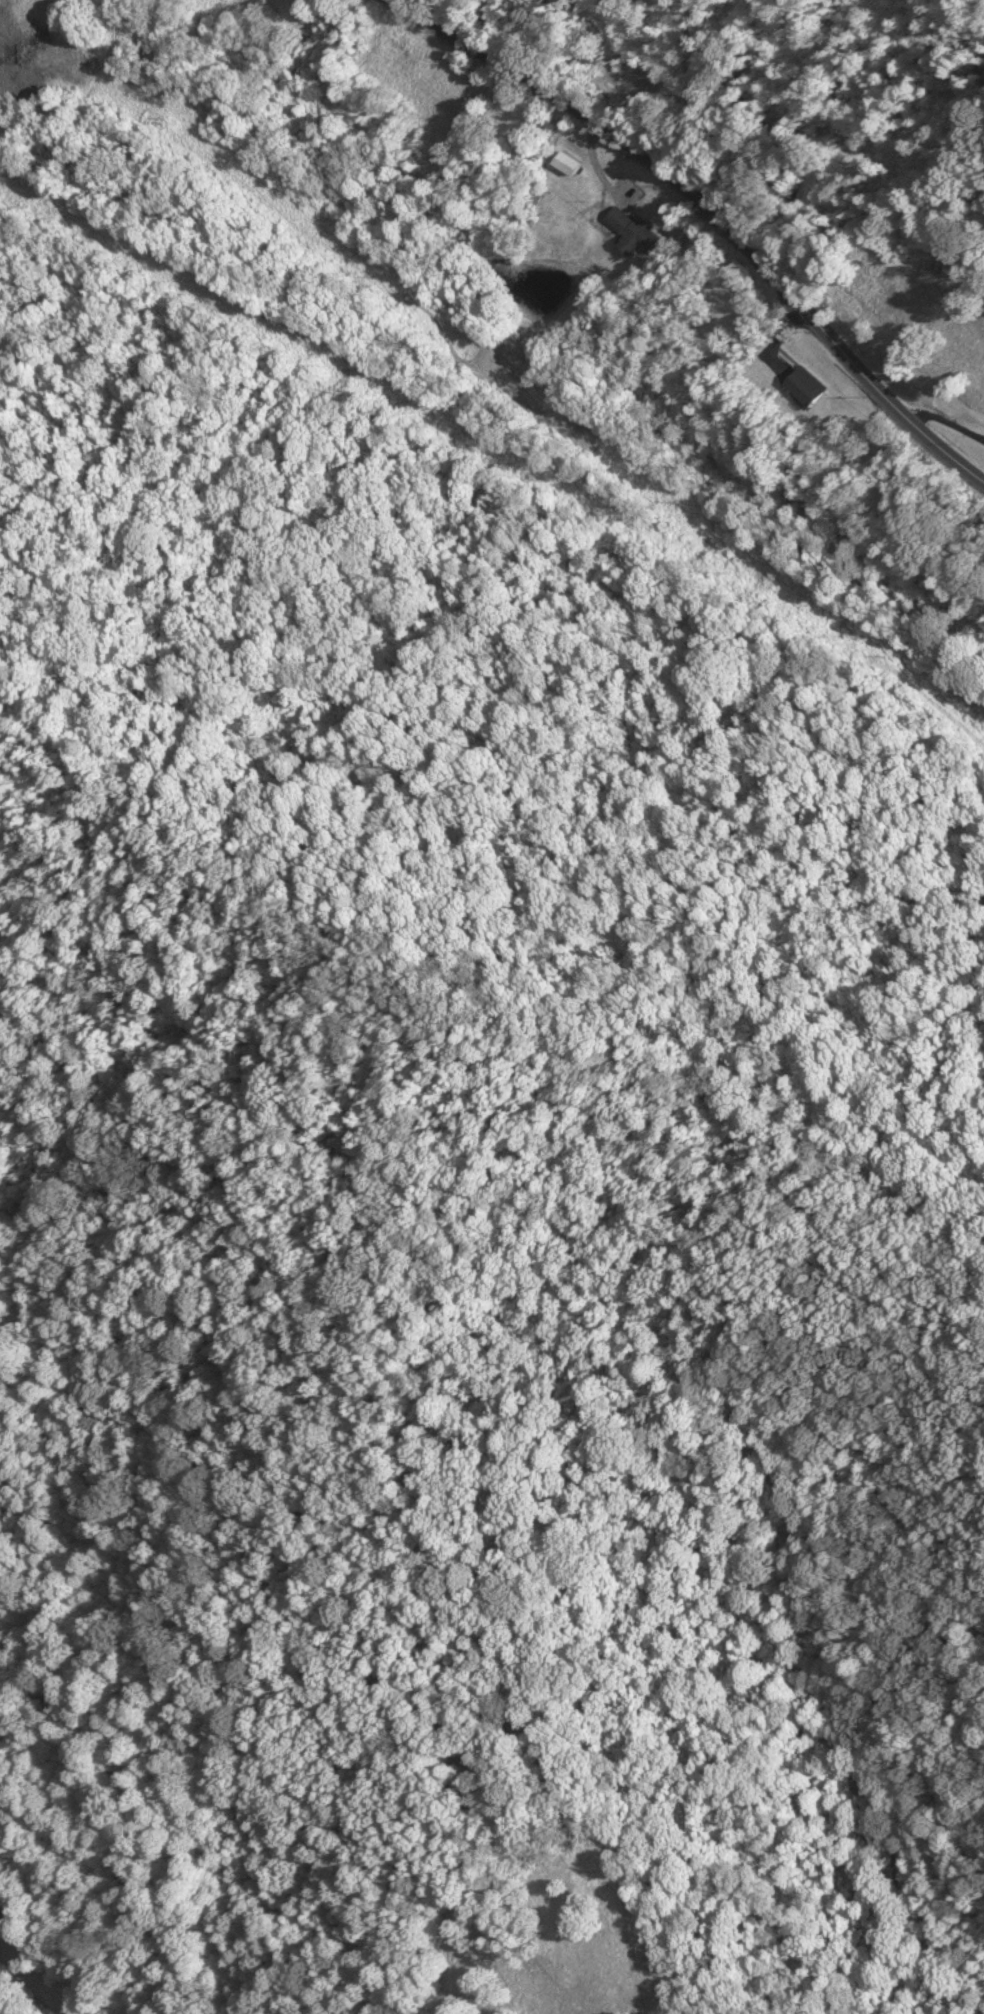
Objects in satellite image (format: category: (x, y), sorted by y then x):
road: (593, 160)
road: (710, 211)
building: (632, 229)
road: (777, 339)
building: (805, 386)
road: (944, 422)

